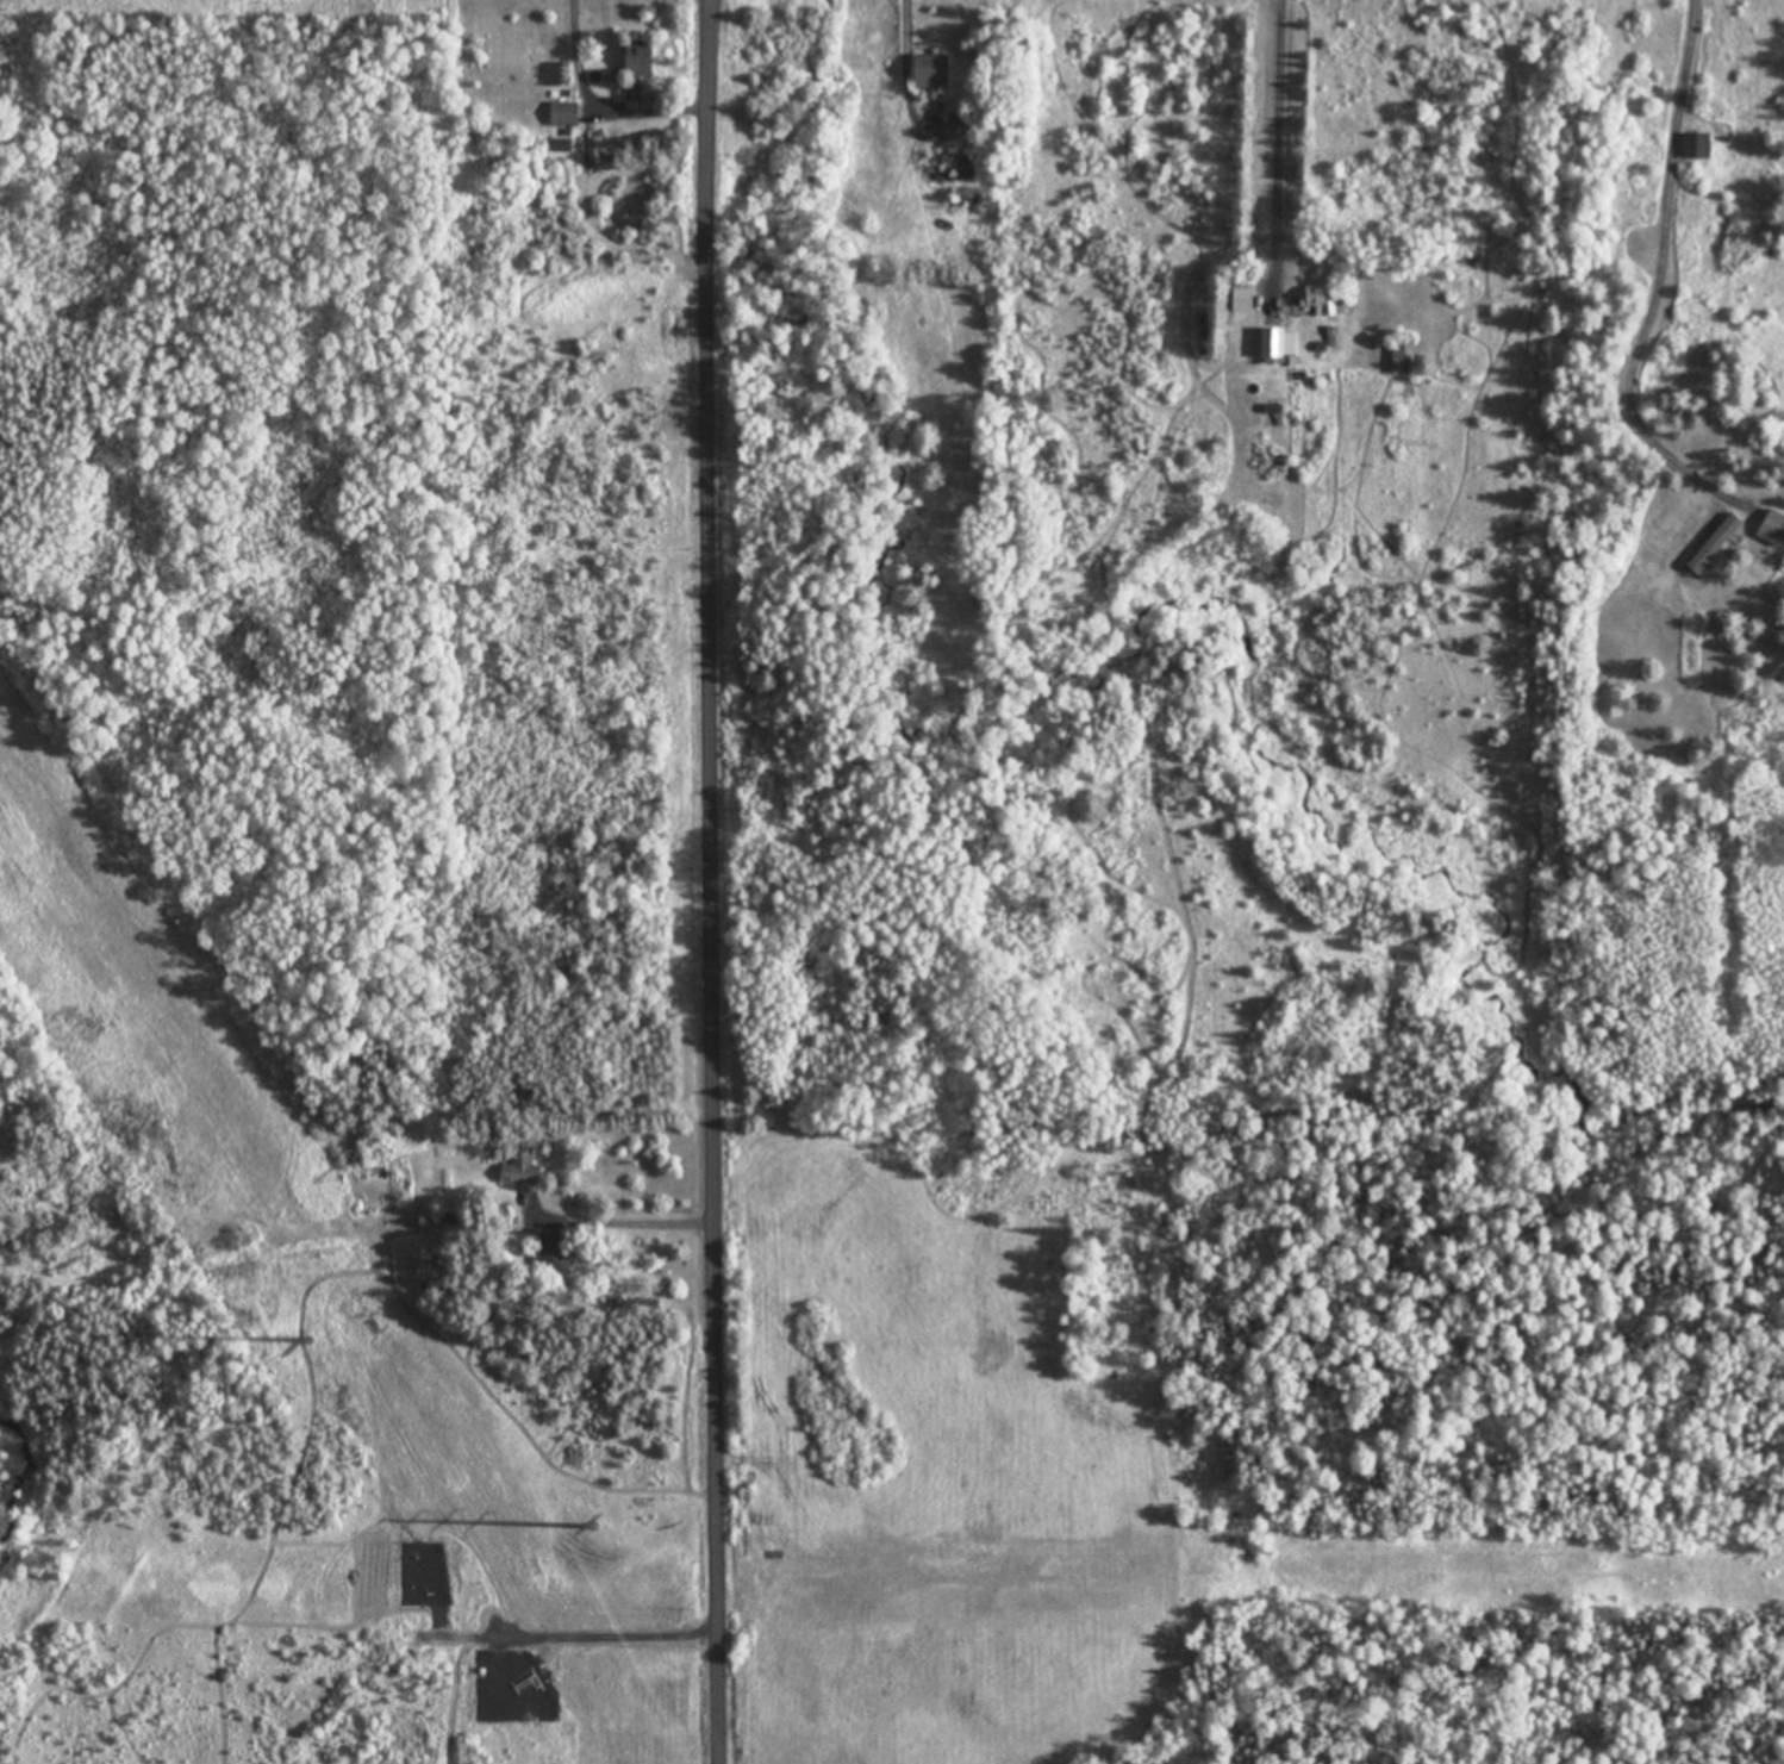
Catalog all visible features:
building: (638, 58)
building: (931, 75)
building: (563, 113)
building: (955, 135)
building: (560, 145)
building: (1696, 147)
building: (1317, 299)
building: (1241, 300)
building: (1277, 344)
building: (1417, 362)
building: (1772, 529)
building: (1714, 543)
road: (707, 881)
building: (520, 1167)
building: (555, 1255)
power tower: (308, 1339)
crop: (924, 1473)
power tower: (593, 1525)
building: (423, 1592)

